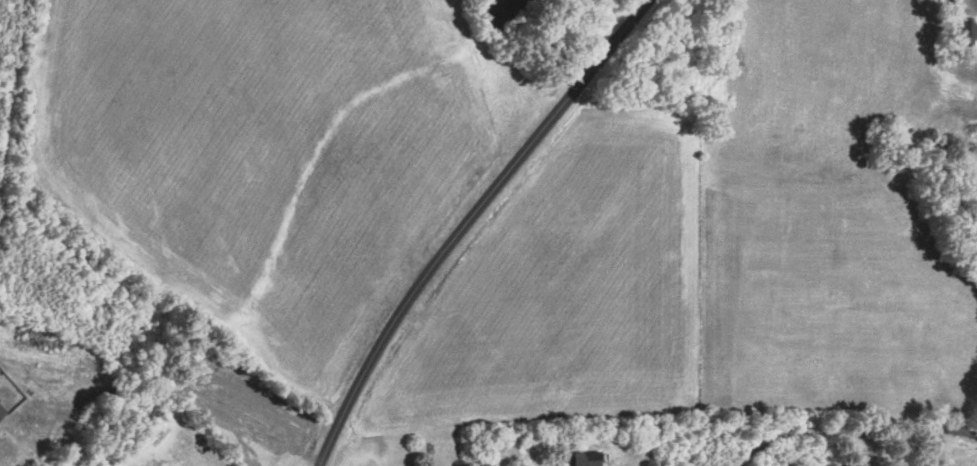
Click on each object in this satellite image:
building: (968, 32)
road: (926, 59)
road: (467, 222)
road: (789, 433)
building: (584, 459)

